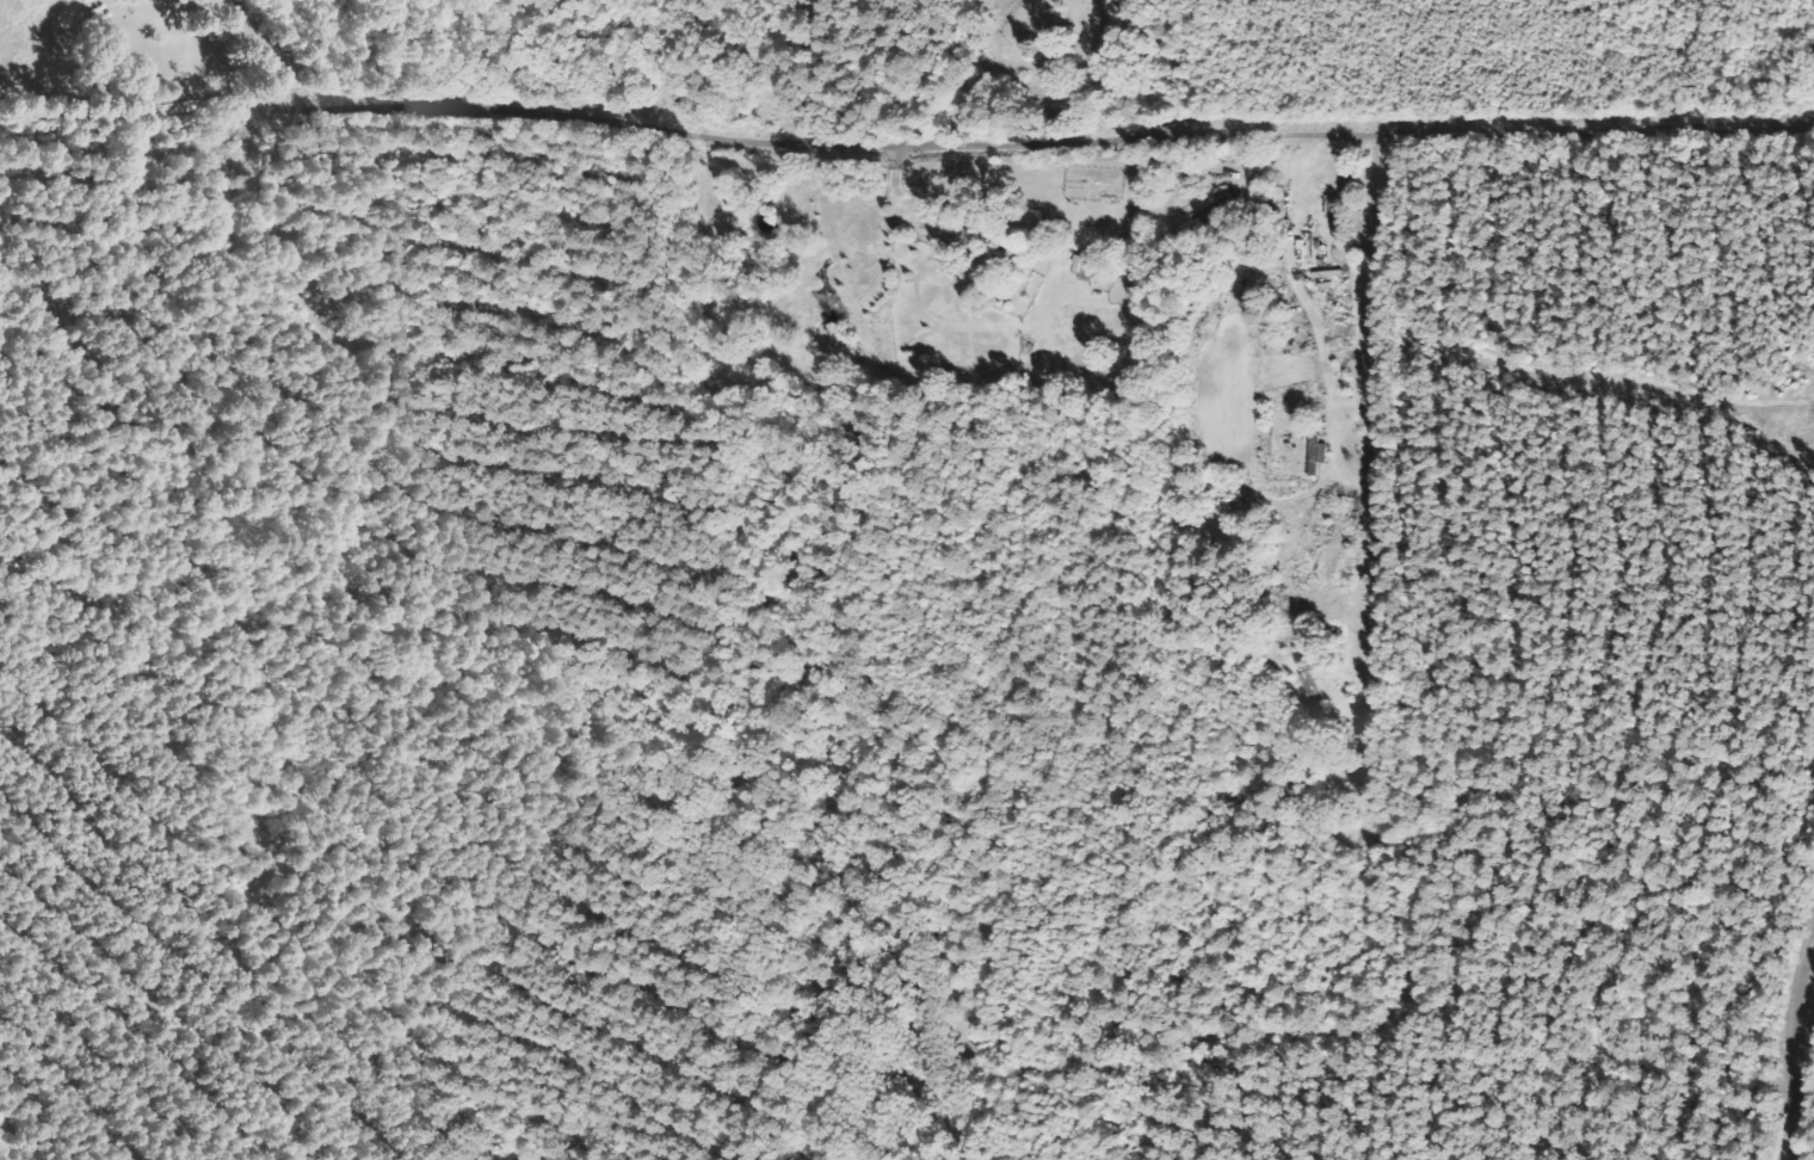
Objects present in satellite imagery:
road: (906, 129)
building: (1088, 267)
road: (1207, 504)
road: (1797, 1002)

